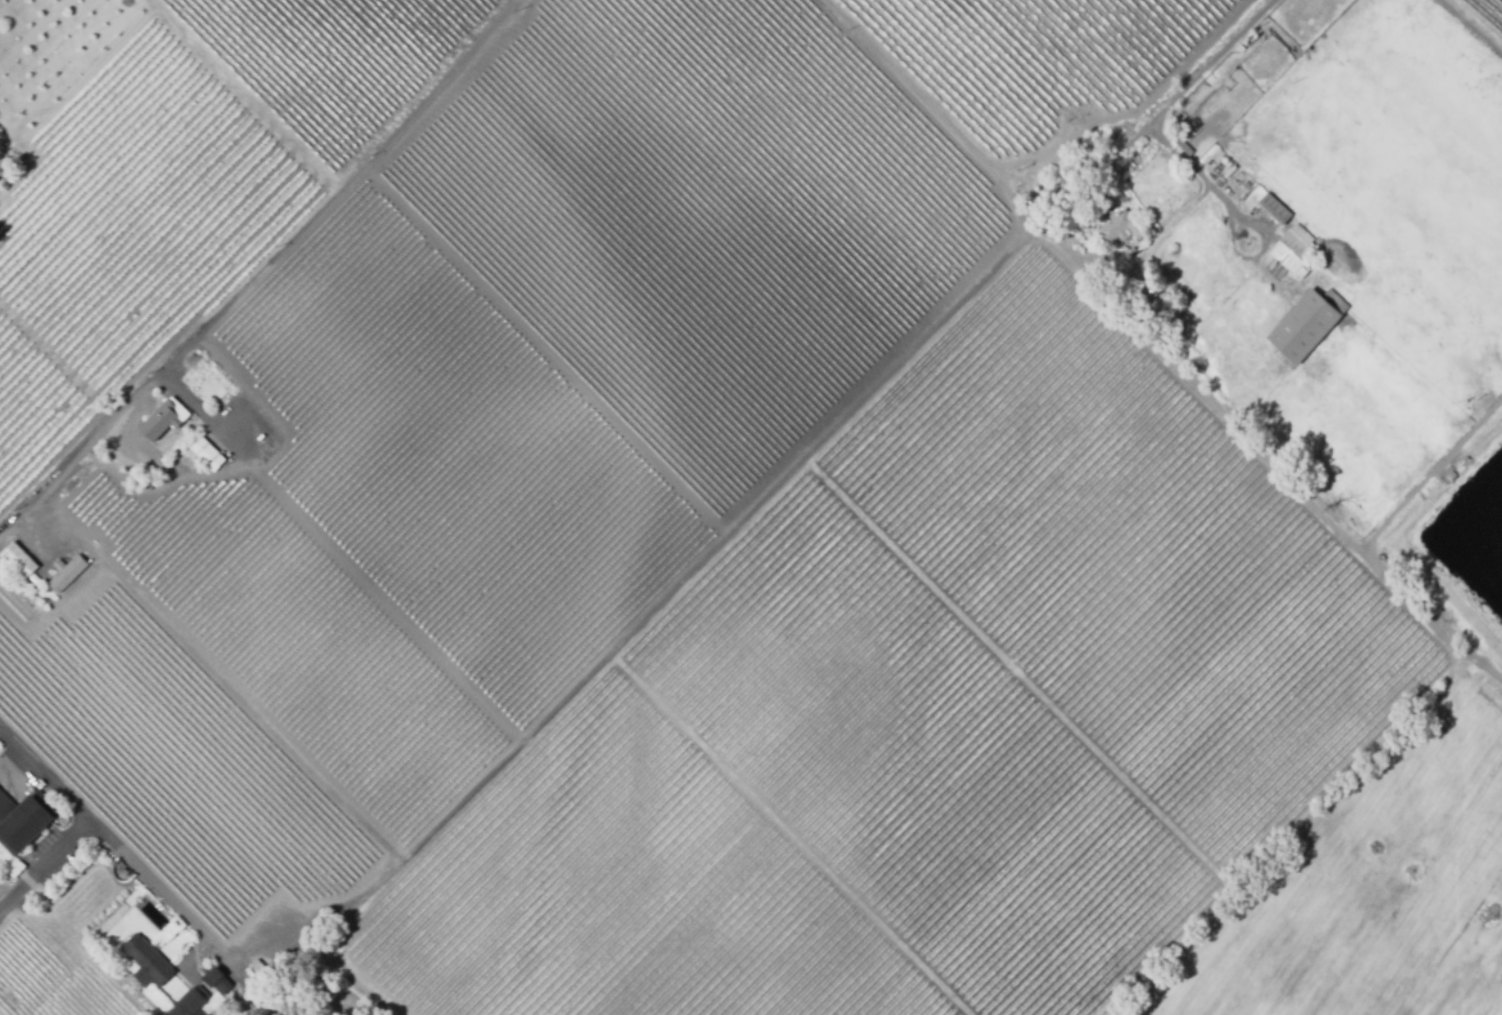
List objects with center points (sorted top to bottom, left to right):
road: (1472, 25)
building: (1239, 48)
road: (1198, 62)
building: (1218, 93)
building: (1182, 144)
building: (1230, 172)
building: (1067, 186)
building: (1275, 209)
building: (1122, 227)
building: (1295, 250)
building: (1168, 309)
building: (1307, 324)
road: (1197, 384)
building: (165, 419)
road: (96, 439)
building: (208, 453)
building: (1451, 476)
building: (19, 560)
building: (67, 571)
building: (23, 819)
road: (22, 884)
building: (148, 962)
building: (260, 973)
building: (216, 979)
building: (190, 1002)
building: (203, 1013)

